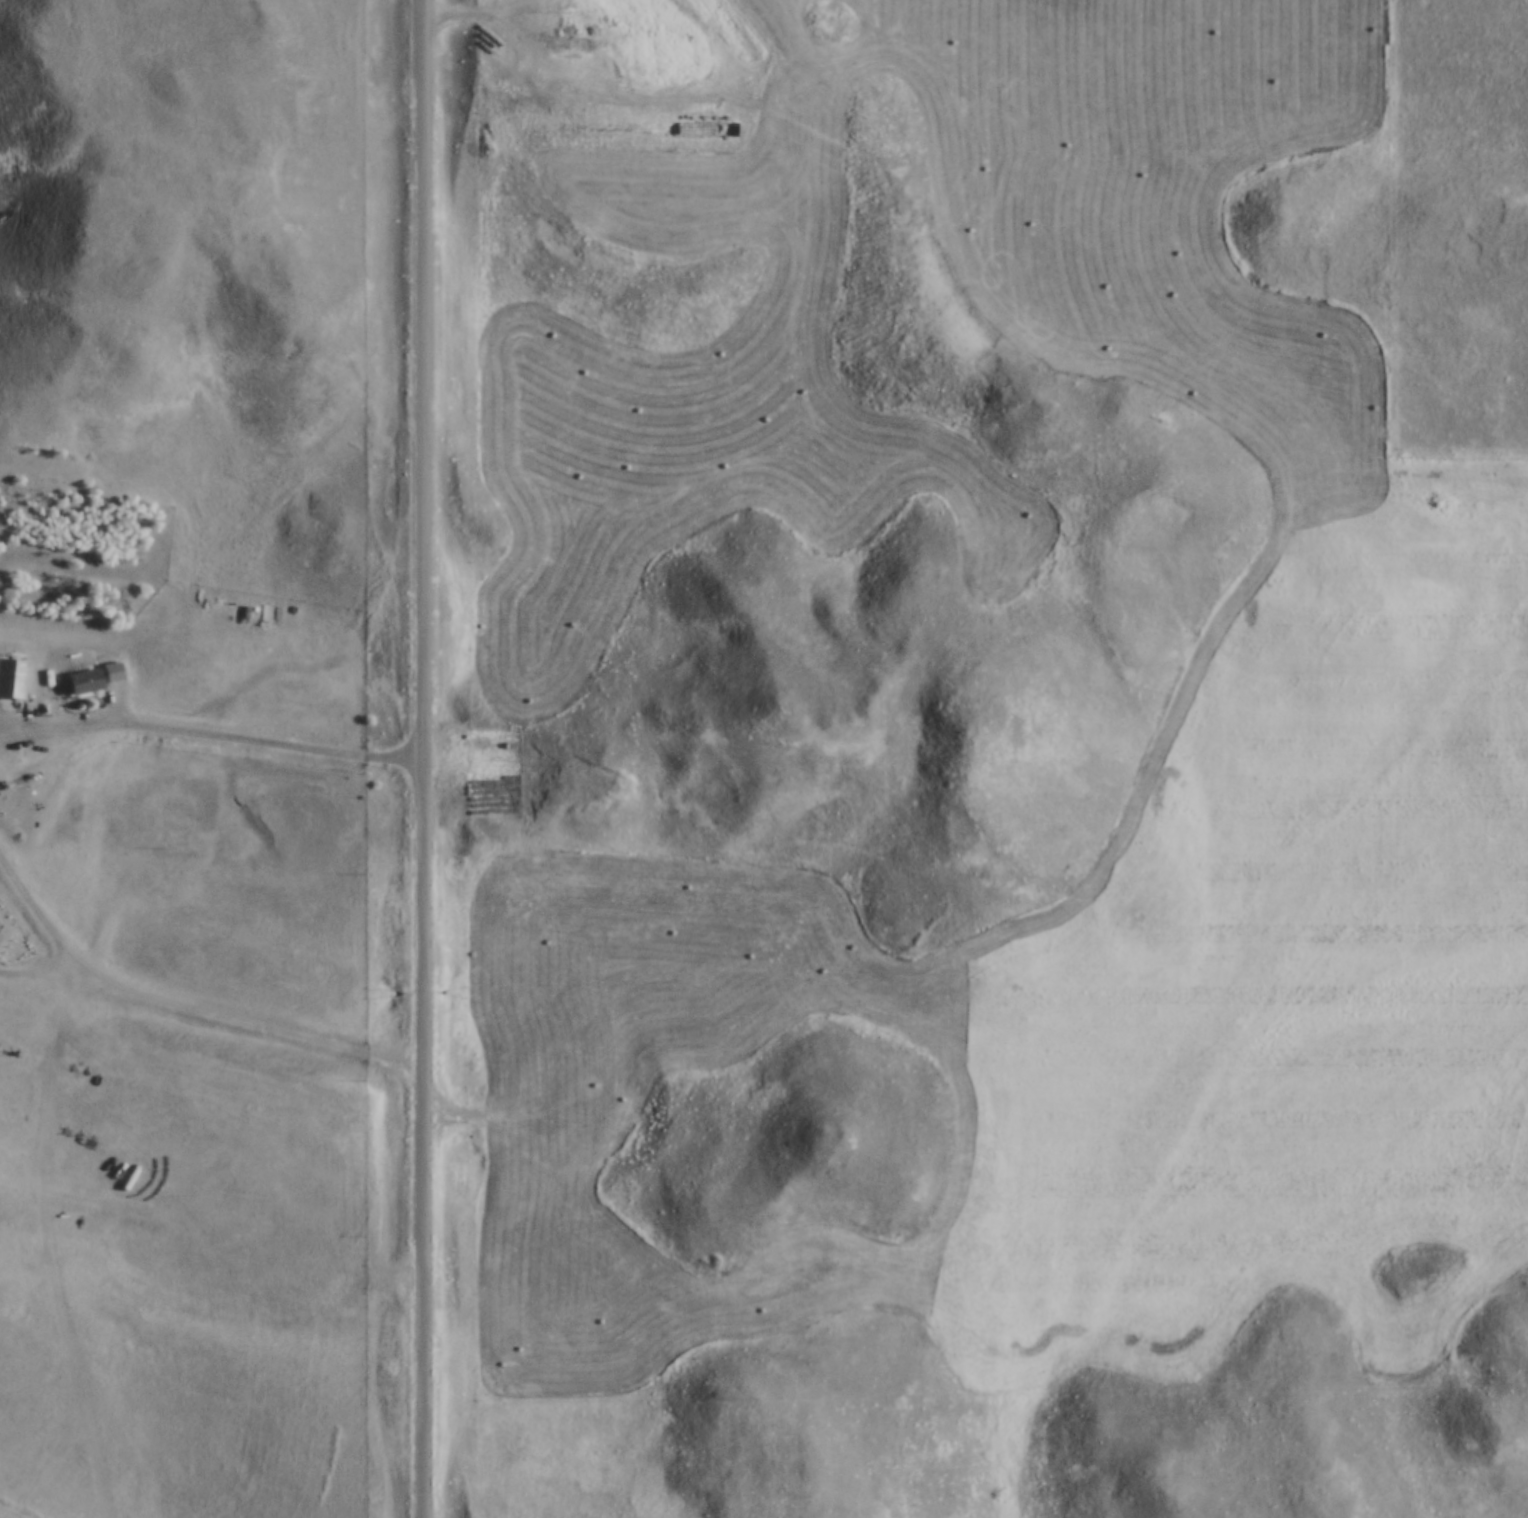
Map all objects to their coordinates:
building: (12, 677)
building: (82, 679)
road: (210, 732)
road: (424, 758)
road: (188, 1009)
road: (187, 1168)

